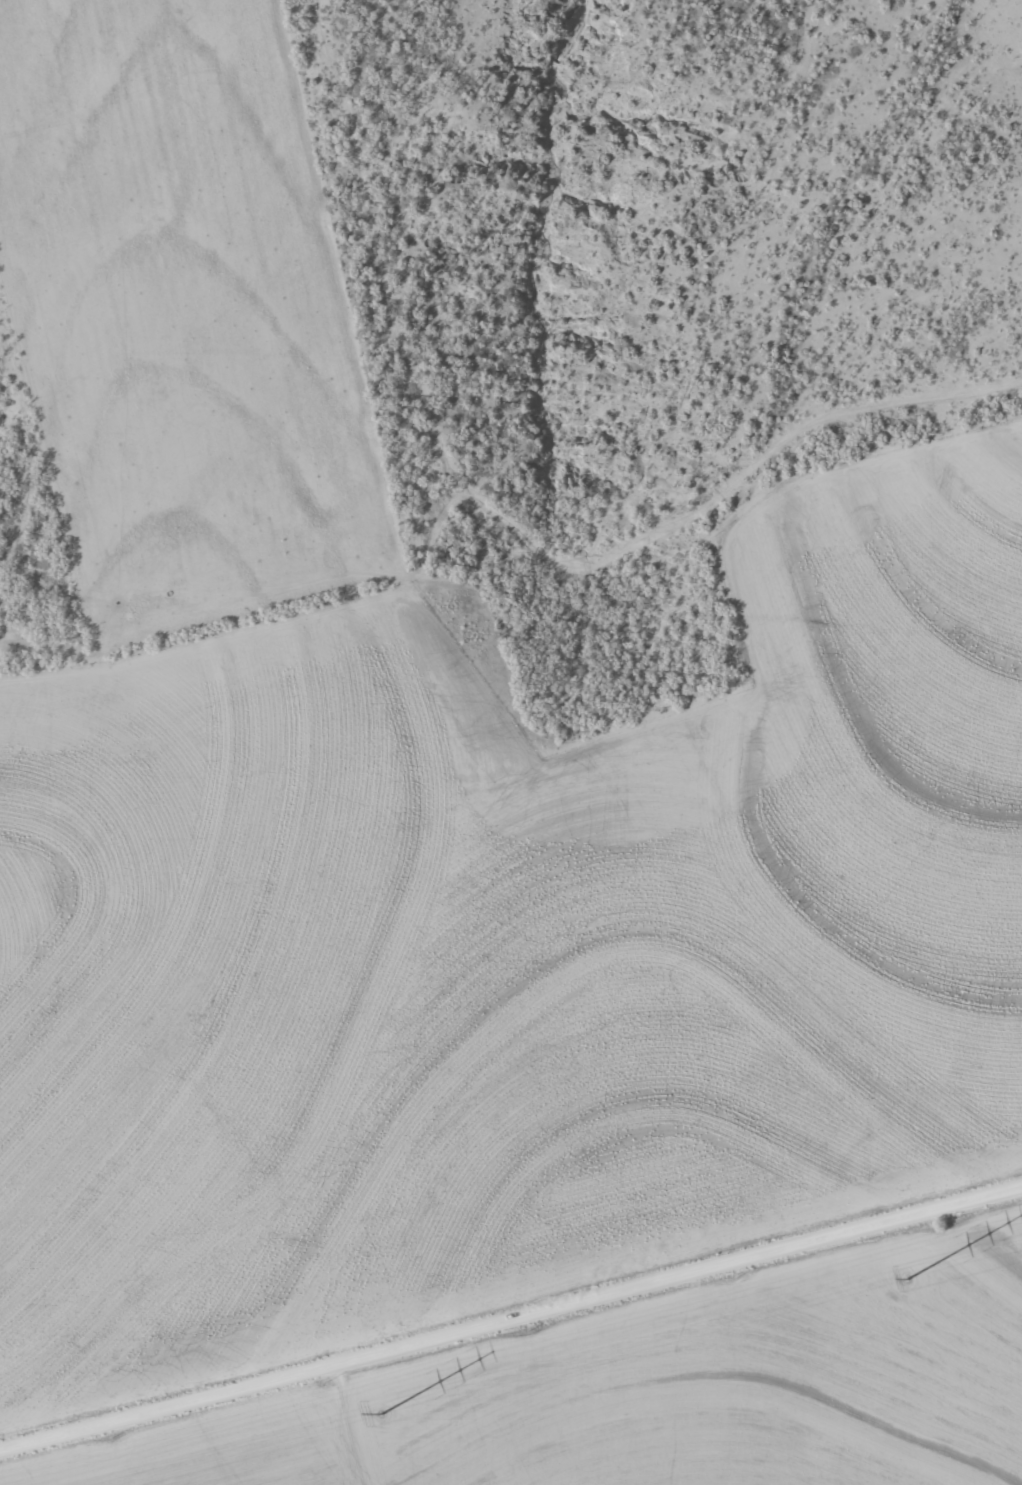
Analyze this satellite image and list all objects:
power tower: (908, 1279)
road: (509, 1326)
power tower: (382, 1414)
road: (348, 1435)

